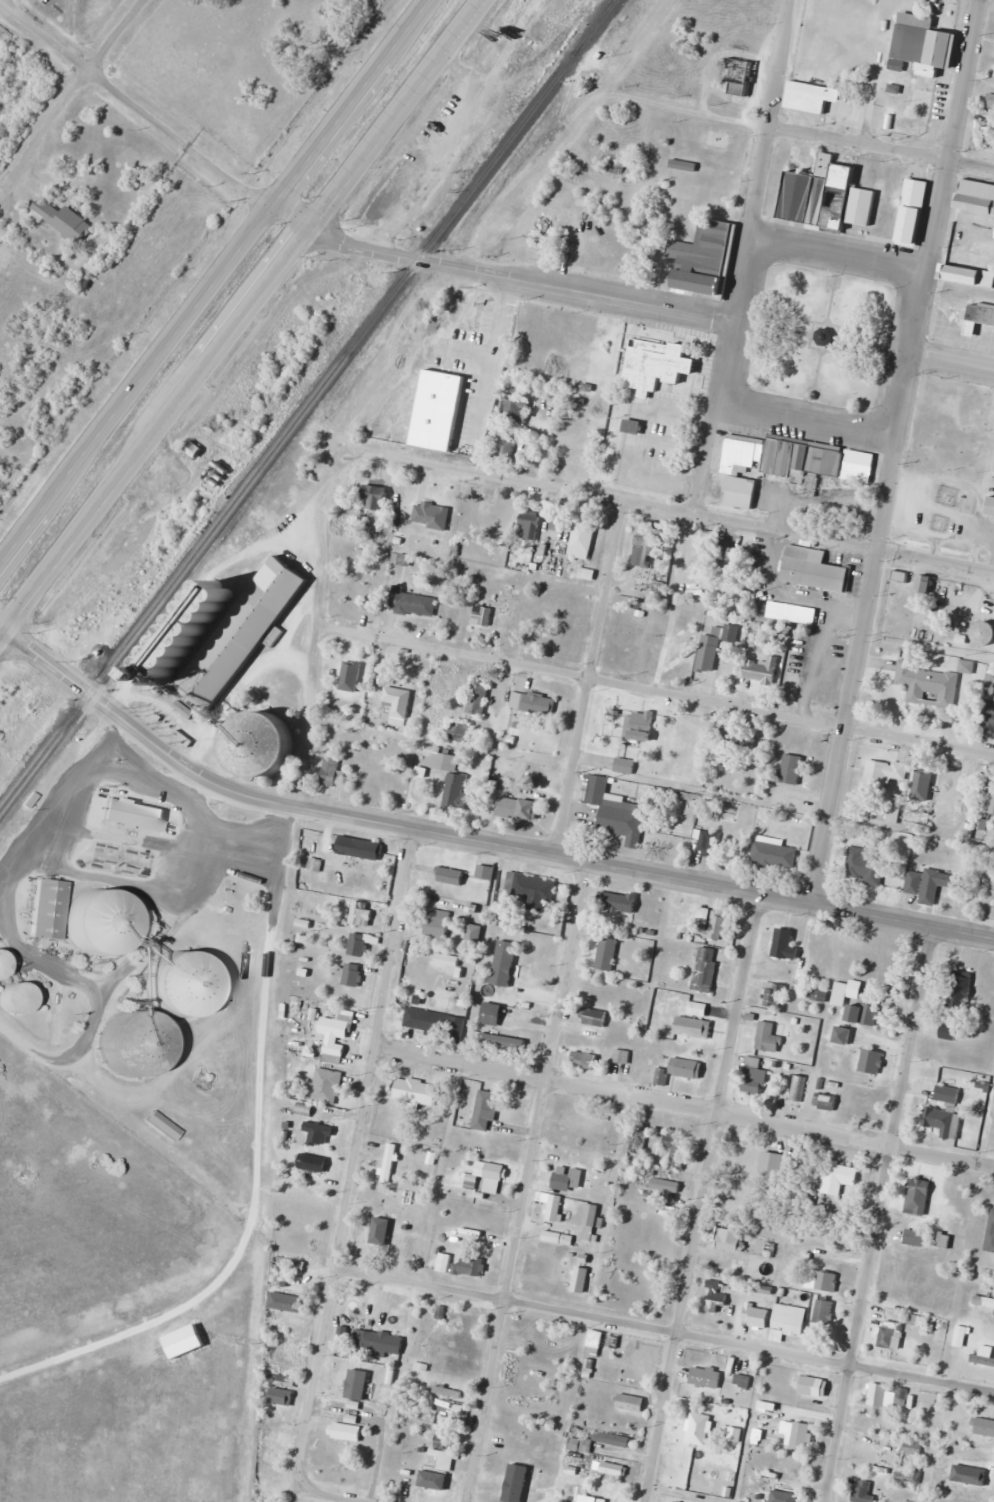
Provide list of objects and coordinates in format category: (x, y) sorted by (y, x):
road: (2, 3)
railway: (602, 15)
building: (936, 50)
building: (738, 76)
road: (72, 87)
building: (810, 97)
road: (137, 106)
building: (989, 111)
road: (771, 117)
building: (887, 120)
road: (807, 132)
road: (950, 133)
building: (819, 193)
building: (976, 196)
building: (910, 211)
building: (62, 220)
building: (541, 229)
road: (838, 251)
building: (701, 256)
building: (966, 269)
road: (496, 275)
road: (213, 279)
road: (742, 279)
road: (918, 310)
road: (255, 315)
building: (480, 316)
building: (978, 318)
building: (825, 336)
road: (952, 359)
road: (727, 362)
building: (656, 364)
building: (938, 391)
road: (902, 393)
railway: (307, 404)
building: (514, 409)
road: (807, 417)
building: (632, 425)
building: (744, 457)
road: (710, 458)
building: (801, 459)
building: (857, 465)
building: (811, 486)
building: (740, 491)
building: (374, 497)
building: (987, 506)
road: (675, 510)
building: (476, 518)
building: (529, 524)
building: (342, 527)
building: (239, 532)
building: (583, 548)
building: (644, 550)
building: (812, 569)
building: (893, 577)
building: (924, 583)
railway: (179, 589)
building: (224, 593)
building: (414, 604)
building: (801, 614)
building: (481, 615)
building: (242, 630)
building: (985, 632)
road: (5, 638)
building: (708, 653)
road: (851, 668)
building: (762, 670)
building: (156, 674)
building: (349, 678)
road: (592, 678)
building: (928, 684)
road: (657, 690)
building: (477, 698)
building: (397, 702)
building: (532, 703)
building: (987, 707)
building: (188, 709)
road: (311, 715)
building: (641, 726)
building: (258, 744)
building: (443, 761)
building: (786, 762)
building: (624, 766)
building: (330, 771)
building: (886, 772)
building: (920, 778)
building: (949, 783)
building: (458, 793)
road: (58, 794)
building: (985, 802)
building: (517, 808)
building: (614, 809)
building: (134, 813)
road: (471, 838)
building: (707, 841)
building: (360, 848)
building: (773, 852)
building: (864, 866)
building: (449, 876)
building: (928, 886)
building: (531, 890)
building: (616, 902)
building: (41, 910)
building: (361, 912)
building: (96, 922)
building: (438, 924)
building: (717, 925)
building: (361, 943)
building: (785, 944)
building: (607, 954)
building: (505, 963)
building: (2, 966)
building: (429, 969)
building: (705, 969)
building: (352, 974)
building: (179, 985)
building: (959, 991)
building: (845, 992)
building: (773, 995)
building: (819, 995)
building: (10, 999)
building: (491, 1012)
building: (864, 1012)
building: (594, 1021)
building: (419, 1024)
building: (692, 1027)
building: (948, 1031)
building: (337, 1034)
building: (842, 1035)
building: (768, 1038)
building: (503, 1040)
building: (131, 1042)
building: (621, 1056)
building: (584, 1059)
building: (871, 1061)
building: (679, 1070)
building: (752, 1073)
building: (324, 1085)
building: (797, 1088)
building: (415, 1091)
building: (828, 1101)
road: (685, 1106)
building: (486, 1109)
building: (940, 1118)
building: (583, 1125)
building: (319, 1135)
building: (639, 1141)
building: (673, 1151)
road: (356, 1157)
building: (312, 1162)
building: (383, 1164)
building: (773, 1164)
road: (259, 1166)
building: (491, 1170)
building: (566, 1178)
building: (838, 1178)
road: (529, 1181)
building: (665, 1185)
road: (701, 1197)
building: (918, 1197)
road: (875, 1214)
building: (590, 1222)
building: (456, 1235)
building: (990, 1235)
building: (364, 1237)
building: (915, 1238)
building: (729, 1239)
building: (407, 1240)
building: (943, 1240)
building: (282, 1260)
building: (471, 1266)
building: (580, 1280)
building: (826, 1281)
building: (716, 1298)
building: (983, 1302)
building: (288, 1303)
building: (823, 1313)
building: (756, 1316)
building: (789, 1319)
building: (465, 1322)
road: (664, 1329)
building: (889, 1335)
building: (960, 1336)
building: (377, 1341)
building: (602, 1342)
building: (540, 1355)
building: (982, 1360)
building: (636, 1361)
building: (705, 1378)
building: (742, 1381)
building: (814, 1386)
building: (281, 1389)
building: (447, 1392)
building: (877, 1396)
building: (900, 1397)
building: (630, 1403)
building: (985, 1427)
building: (699, 1429)
building: (346, 1432)
building: (797, 1435)
building: (615, 1440)
building: (580, 1445)
building: (274, 1446)
building: (909, 1447)
building: (439, 1461)
building: (980, 1476)
building: (908, 1477)
building: (864, 1491)
road: (337, 1495)
building: (782, 1498)
building: (591, 1499)
building: (674, 1501)

